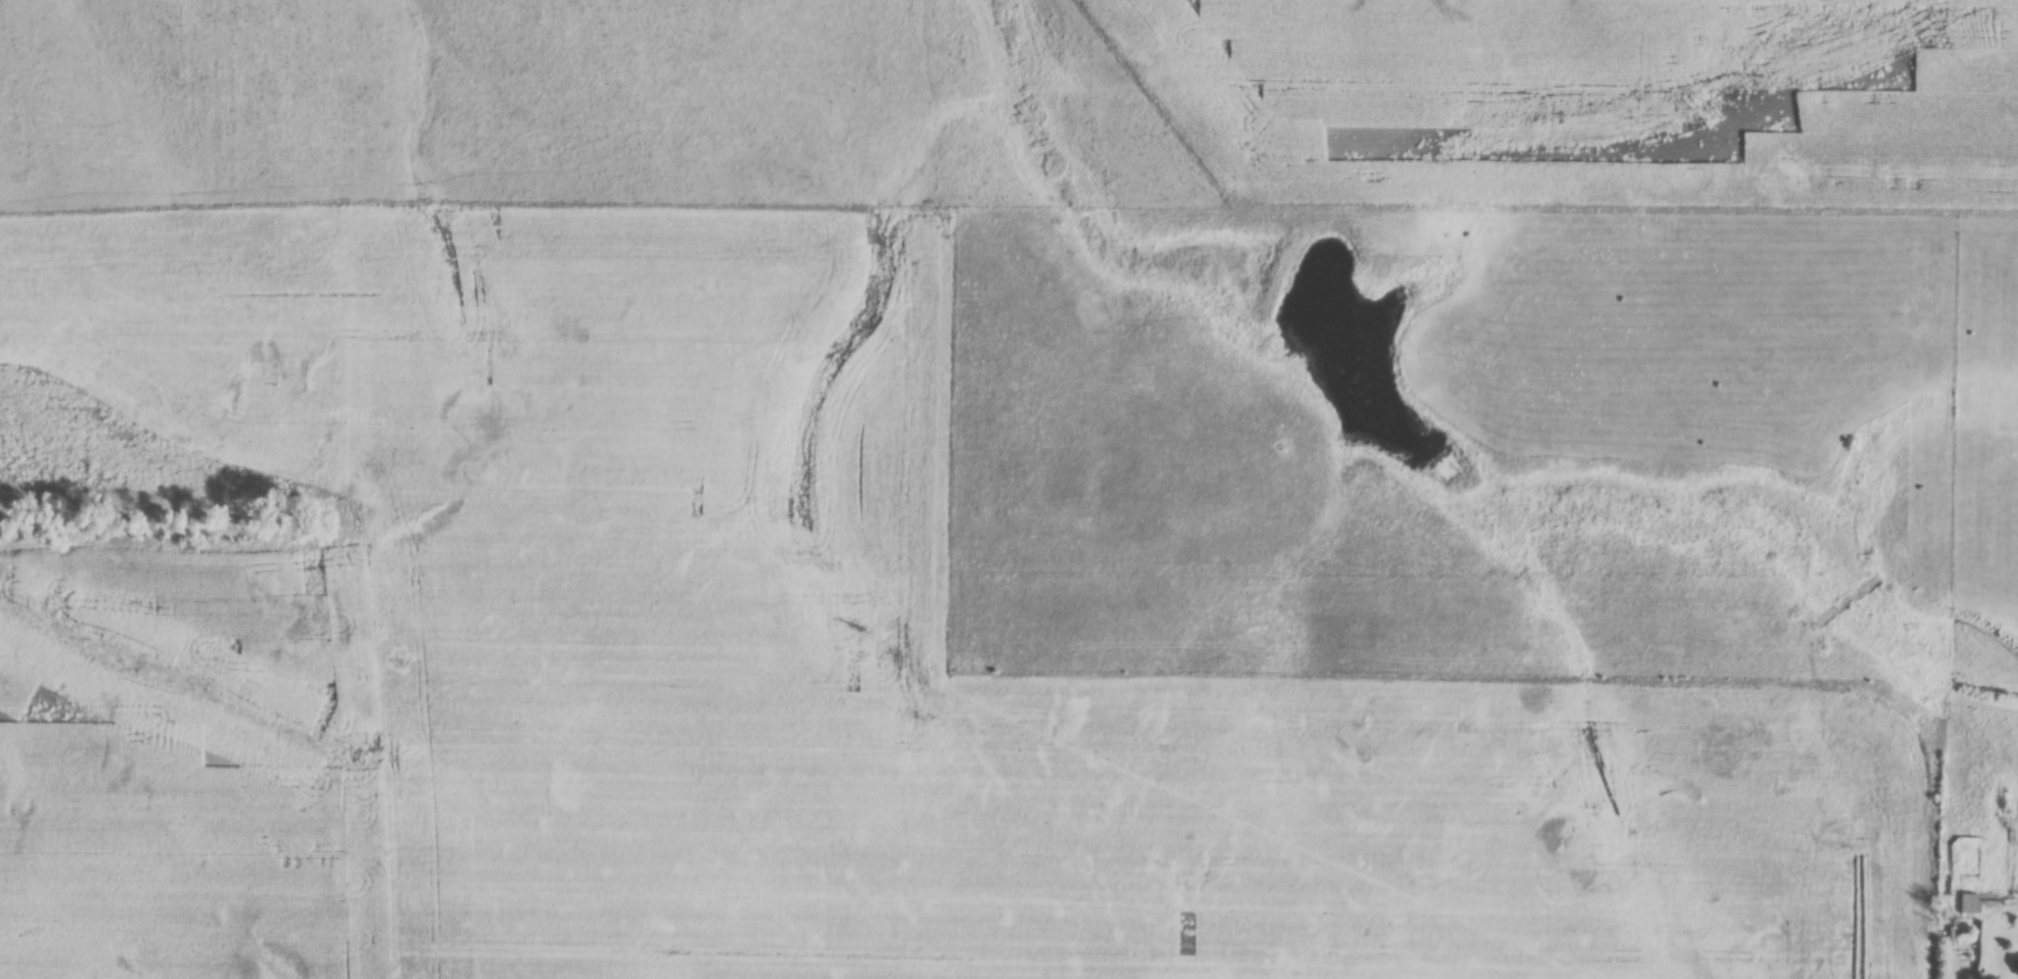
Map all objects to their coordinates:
building: (1968, 904)
building: (2016, 967)

